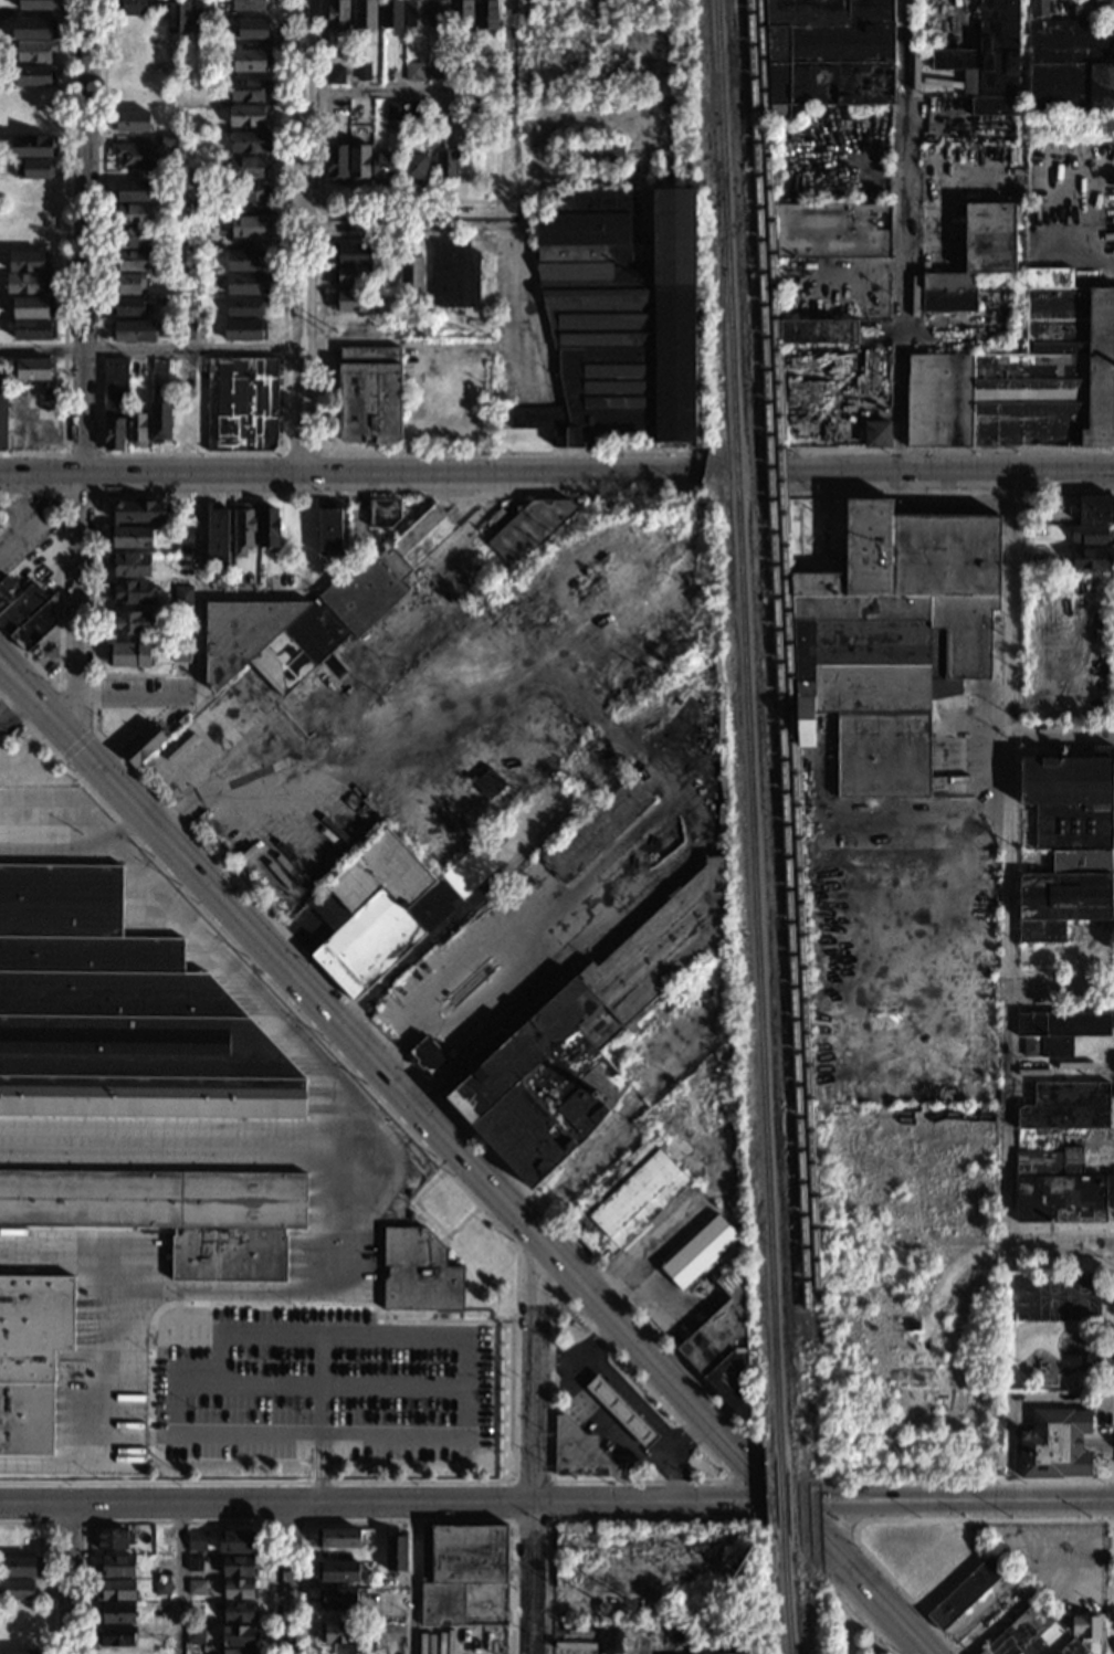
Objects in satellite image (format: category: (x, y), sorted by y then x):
building: (41, 4)
building: (248, 6)
building: (130, 8)
building: (157, 8)
building: (1038, 8)
building: (1093, 8)
building: (202, 13)
building: (414, 13)
building: (439, 13)
building: (364, 14)
building: (391, 14)
building: (461, 14)
building: (486, 14)
building: (337, 15)
building: (178, 17)
building: (33, 30)
building: (250, 30)
building: (33, 52)
building: (827, 55)
building: (250, 61)
building: (988, 61)
building: (1071, 65)
building: (364, 71)
building: (435, 72)
building: (413, 73)
building: (335, 75)
building: (35, 76)
building: (249, 89)
road: (409, 92)
building: (341, 107)
building: (358, 108)
building: (414, 109)
building: (395, 110)
building: (248, 116)
building: (129, 123)
building: (219, 126)
building: (166, 141)
building: (250, 143)
building: (34, 147)
building: (135, 156)
building: (589, 156)
building: (359, 162)
building: (337, 164)
building: (444, 166)
building: (248, 167)
building: (382, 167)
building: (416, 168)
building: (38, 169)
building: (132, 191)
building: (252, 191)
road: (320, 194)
building: (193, 208)
building: (130, 214)
road: (319, 218)
road: (411, 219)
railway: (725, 221)
building: (249, 226)
building: (832, 232)
road: (85, 236)
road: (304, 236)
road: (902, 236)
building: (130, 238)
building: (196, 240)
building: (351, 254)
road: (64, 257)
building: (974, 259)
building: (245, 261)
building: (28, 262)
building: (132, 262)
building: (411, 271)
building: (351, 276)
building: (453, 276)
building: (25, 284)
building: (128, 284)
building: (246, 284)
building: (350, 301)
road: (519, 305)
building: (32, 307)
building: (244, 307)
building: (127, 308)
building: (621, 322)
building: (422, 327)
building: (243, 329)
building: (33, 330)
building: (186, 330)
building: (130, 331)
building: (818, 331)
railway: (719, 338)
road: (264, 346)
building: (159, 368)
building: (34, 369)
building: (1024, 378)
building: (369, 394)
building: (114, 404)
building: (242, 405)
building: (3, 407)
building: (160, 421)
building: (136, 429)
road: (317, 429)
building: (876, 434)
road: (949, 451)
road: (297, 452)
road: (188, 454)
railway: (737, 473)
road: (41, 474)
road: (392, 474)
road: (952, 474)
road: (950, 493)
road: (96, 495)
building: (1032, 506)
building: (1095, 509)
building: (139, 512)
building: (382, 513)
road: (20, 514)
road: (10, 515)
building: (242, 528)
building: (269, 528)
building: (166, 529)
building: (529, 529)
building: (328, 531)
building: (1089, 535)
building: (130, 537)
building: (216, 537)
building: (183, 538)
building: (1089, 559)
building: (1037, 562)
building: (129, 566)
road: (201, 588)
building: (128, 593)
road: (256, 598)
building: (182, 599)
road: (59, 602)
road: (78, 607)
building: (25, 613)
building: (128, 623)
building: (886, 630)
building: (297, 635)
building: (181, 653)
building: (130, 655)
road: (21, 674)
railway: (777, 679)
railway: (788, 679)
road: (20, 692)
road: (137, 696)
road: (76, 708)
road: (20, 714)
road: (1062, 736)
road: (76, 745)
building: (144, 746)
building: (487, 783)
building: (1070, 799)
building: (597, 830)
road: (75, 846)
road: (1008, 860)
building: (1064, 895)
building: (385, 907)
road: (944, 912)
road: (548, 963)
road: (1060, 971)
railway: (757, 980)
road: (1060, 987)
road: (348, 1001)
road: (1060, 1007)
building: (119, 1014)
building: (1057, 1032)
building: (584, 1035)
building: (428, 1056)
building: (897, 1057)
building: (1080, 1064)
road: (444, 1076)
road: (414, 1104)
building: (1066, 1106)
road: (333, 1128)
road: (166, 1149)
road: (571, 1174)
building: (1057, 1189)
building: (626, 1200)
road: (417, 1204)
building: (174, 1213)
road: (466, 1218)
road: (443, 1240)
road: (513, 1244)
road: (1059, 1244)
building: (698, 1253)
road: (536, 1271)
building: (419, 1272)
road: (201, 1303)
road: (396, 1319)
park: (1058, 1323)
building: (912, 1326)
road: (325, 1331)
building: (723, 1344)
road: (105, 1355)
building: (31, 1357)
road: (555, 1371)
road: (640, 1379)
road: (325, 1381)
road: (348, 1383)
building: (620, 1412)
road: (605, 1425)
road: (251, 1431)
road: (395, 1432)
road: (534, 1445)
building: (1053, 1445)
building: (577, 1453)
road: (674, 1479)
railway: (779, 1495)
road: (1111, 1499)
road: (395, 1503)
road: (830, 1503)
road: (992, 1503)
traffic signals: (790, 1504)
road: (51, 1519)
road: (549, 1519)
road: (832, 1519)
road: (965, 1519)
road: (592, 1520)
road: (269, 1521)
road: (177, 1523)
road: (409, 1523)
road: (843, 1525)
road: (843, 1535)
building: (114, 1539)
building: (338, 1539)
building: (197, 1541)
building: (237, 1542)
building: (396, 1553)
road: (50, 1562)
building: (160, 1565)
building: (195, 1565)
building: (20, 1567)
building: (116, 1567)
building: (239, 1567)
building: (458, 1568)
building: (340, 1571)
road: (71, 1578)
road: (287, 1578)
road: (860, 1578)
road: (181, 1579)
road: (414, 1579)
road: (831, 1585)
building: (161, 1588)
building: (196, 1588)
building: (18, 1590)
building: (115, 1590)
building: (238, 1590)
railway: (787, 1592)
building: (965, 1592)
building: (336, 1599)
building: (238, 1613)
building: (116, 1614)
building: (1086, 1627)
building: (1020, 1632)
building: (337, 1634)
building: (193, 1635)
building: (117, 1636)
building: (239, 1636)
building: (1072, 1647)
building: (17, 1652)
building: (192, 1652)
building: (237, 1652)
building: (1055, 1653)

